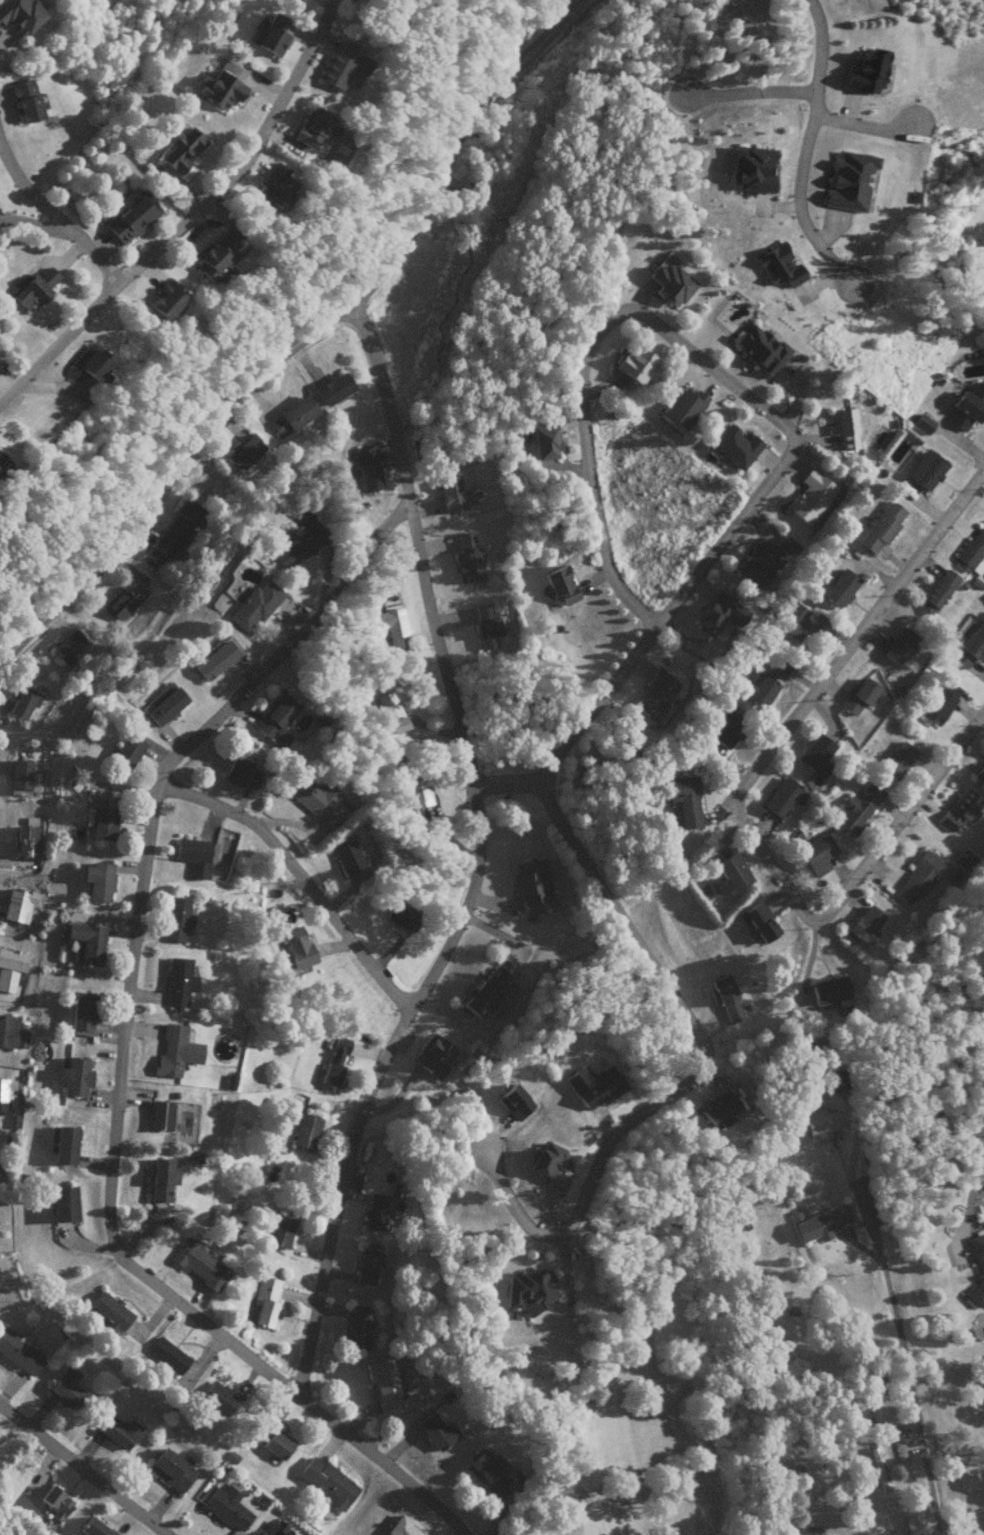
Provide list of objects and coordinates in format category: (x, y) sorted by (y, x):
building: (20, 14)
building: (271, 35)
building: (342, 66)
building: (866, 71)
building: (219, 90)
road: (746, 91)
building: (24, 100)
road: (862, 125)
building: (314, 128)
building: (181, 149)
road: (803, 149)
building: (751, 168)
building: (847, 181)
building: (275, 186)
road: (55, 216)
building: (131, 216)
road: (188, 217)
road: (36, 225)
building: (213, 256)
building: (778, 265)
building: (670, 282)
building: (32, 287)
building: (164, 299)
road: (300, 338)
building: (760, 348)
building: (92, 363)
building: (638, 364)
building: (332, 388)
road: (739, 393)
building: (967, 406)
building: (681, 408)
building: (291, 416)
building: (922, 423)
building: (844, 427)
building: (544, 442)
building: (735, 446)
building: (244, 452)
building: (2, 463)
building: (365, 468)
building: (925, 469)
road: (983, 470)
building: (450, 495)
building: (811, 496)
building: (881, 526)
building: (176, 528)
building: (298, 545)
building: (971, 552)
building: (466, 558)
building: (765, 559)
building: (558, 584)
building: (837, 588)
building: (937, 593)
building: (120, 603)
building: (254, 605)
building: (719, 612)
building: (792, 621)
building: (816, 623)
building: (486, 625)
building: (389, 626)
building: (68, 645)
building: (897, 645)
building: (970, 647)
building: (215, 659)
building: (778, 667)
building: (761, 691)
building: (655, 693)
building: (858, 695)
building: (21, 702)
building: (939, 702)
building: (164, 703)
building: (390, 711)
building: (274, 720)
building: (727, 727)
building: (127, 750)
building: (815, 754)
building: (897, 758)
building: (241, 772)
building: (979, 772)
building: (19, 776)
road: (508, 785)
building: (416, 792)
building: (782, 797)
building: (317, 800)
road: (732, 803)
building: (857, 807)
building: (958, 809)
building: (103, 823)
building: (24, 839)
building: (814, 851)
building: (346, 855)
building: (193, 856)
building: (963, 858)
road: (475, 861)
building: (730, 872)
building: (953, 875)
building: (916, 876)
road: (298, 877)
building: (98, 880)
building: (531, 885)
building: (17, 904)
building: (400, 916)
building: (174, 918)
building: (757, 920)
building: (864, 924)
building: (87, 942)
building: (296, 946)
building: (10, 967)
building: (178, 981)
building: (830, 991)
building: (485, 993)
building: (726, 997)
building: (82, 1010)
building: (11, 1033)
building: (174, 1051)
road: (118, 1054)
building: (433, 1055)
building: (334, 1061)
road: (696, 1074)
building: (74, 1075)
building: (836, 1080)
building: (593, 1085)
building: (5, 1090)
building: (514, 1101)
building: (719, 1109)
building: (159, 1114)
building: (821, 1124)
building: (304, 1131)
building: (65, 1145)
road: (975, 1146)
building: (547, 1164)
building: (160, 1178)
building: (63, 1203)
building: (374, 1211)
building: (819, 1223)
building: (279, 1230)
building: (198, 1264)
building: (365, 1266)
building: (977, 1270)
building: (527, 1290)
building: (265, 1300)
building: (109, 1312)
building: (357, 1327)
building: (18, 1351)
building: (166, 1354)
road: (901, 1356)
building: (382, 1384)
building: (66, 1387)
building: (217, 1397)
building: (436, 1430)
building: (118, 1431)
building: (275, 1444)
building: (171, 1468)
road: (82, 1471)
building: (487, 1471)
building: (326, 1481)
building: (54, 1501)
building: (226, 1506)
building: (913, 1524)
building: (93, 1527)
building: (271, 1528)
building: (401, 1528)

